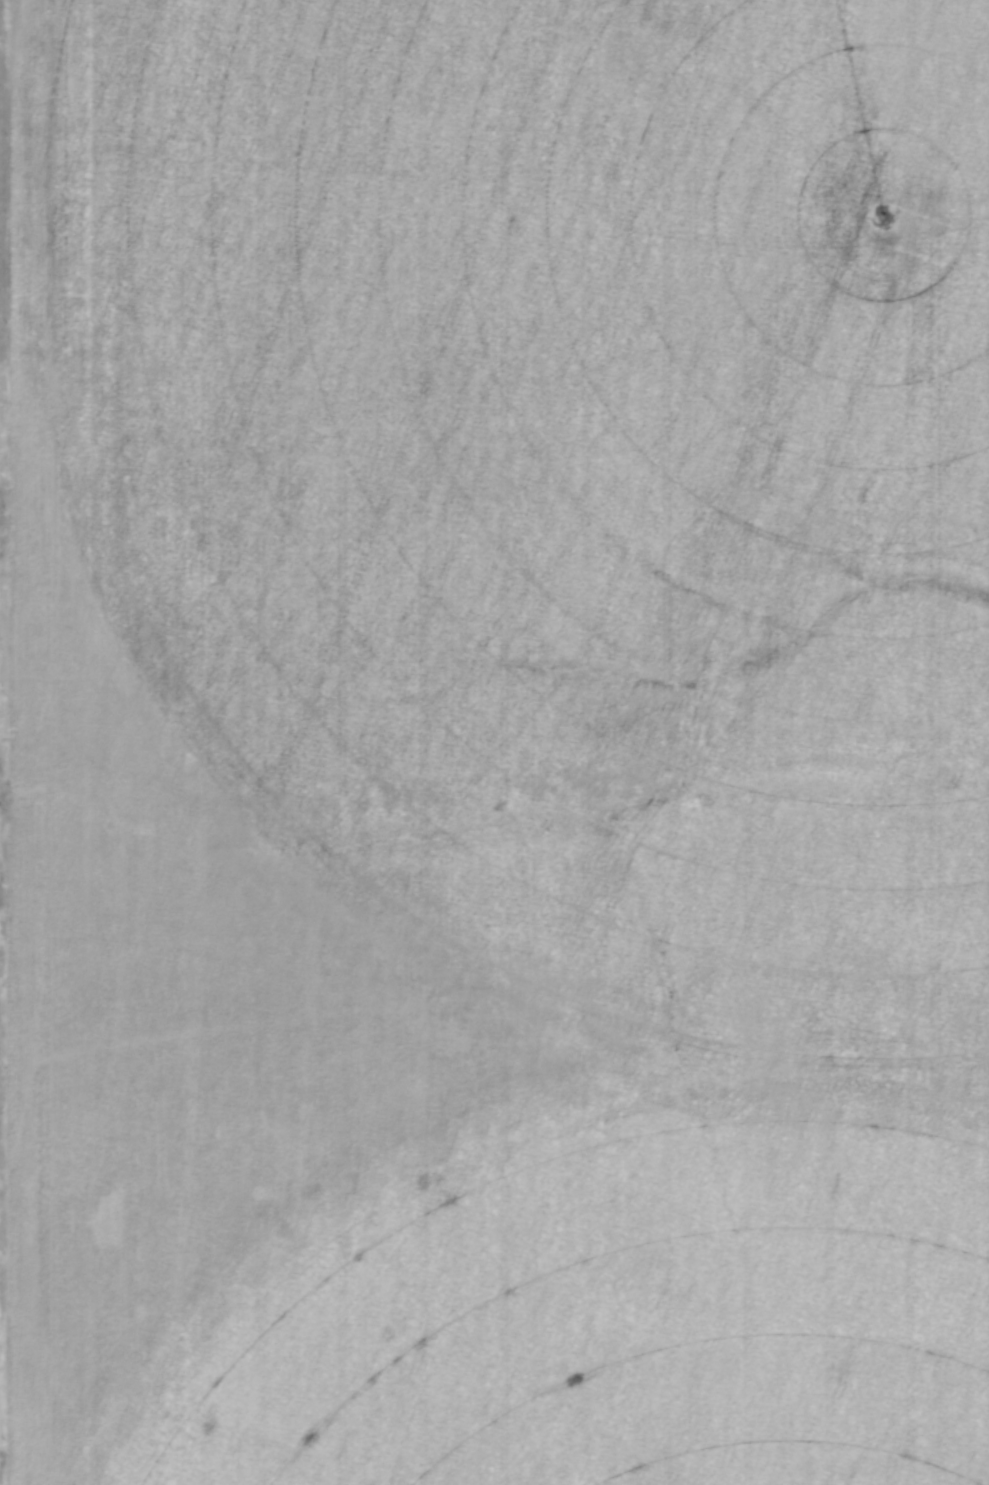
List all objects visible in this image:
crop: (500, 743)

